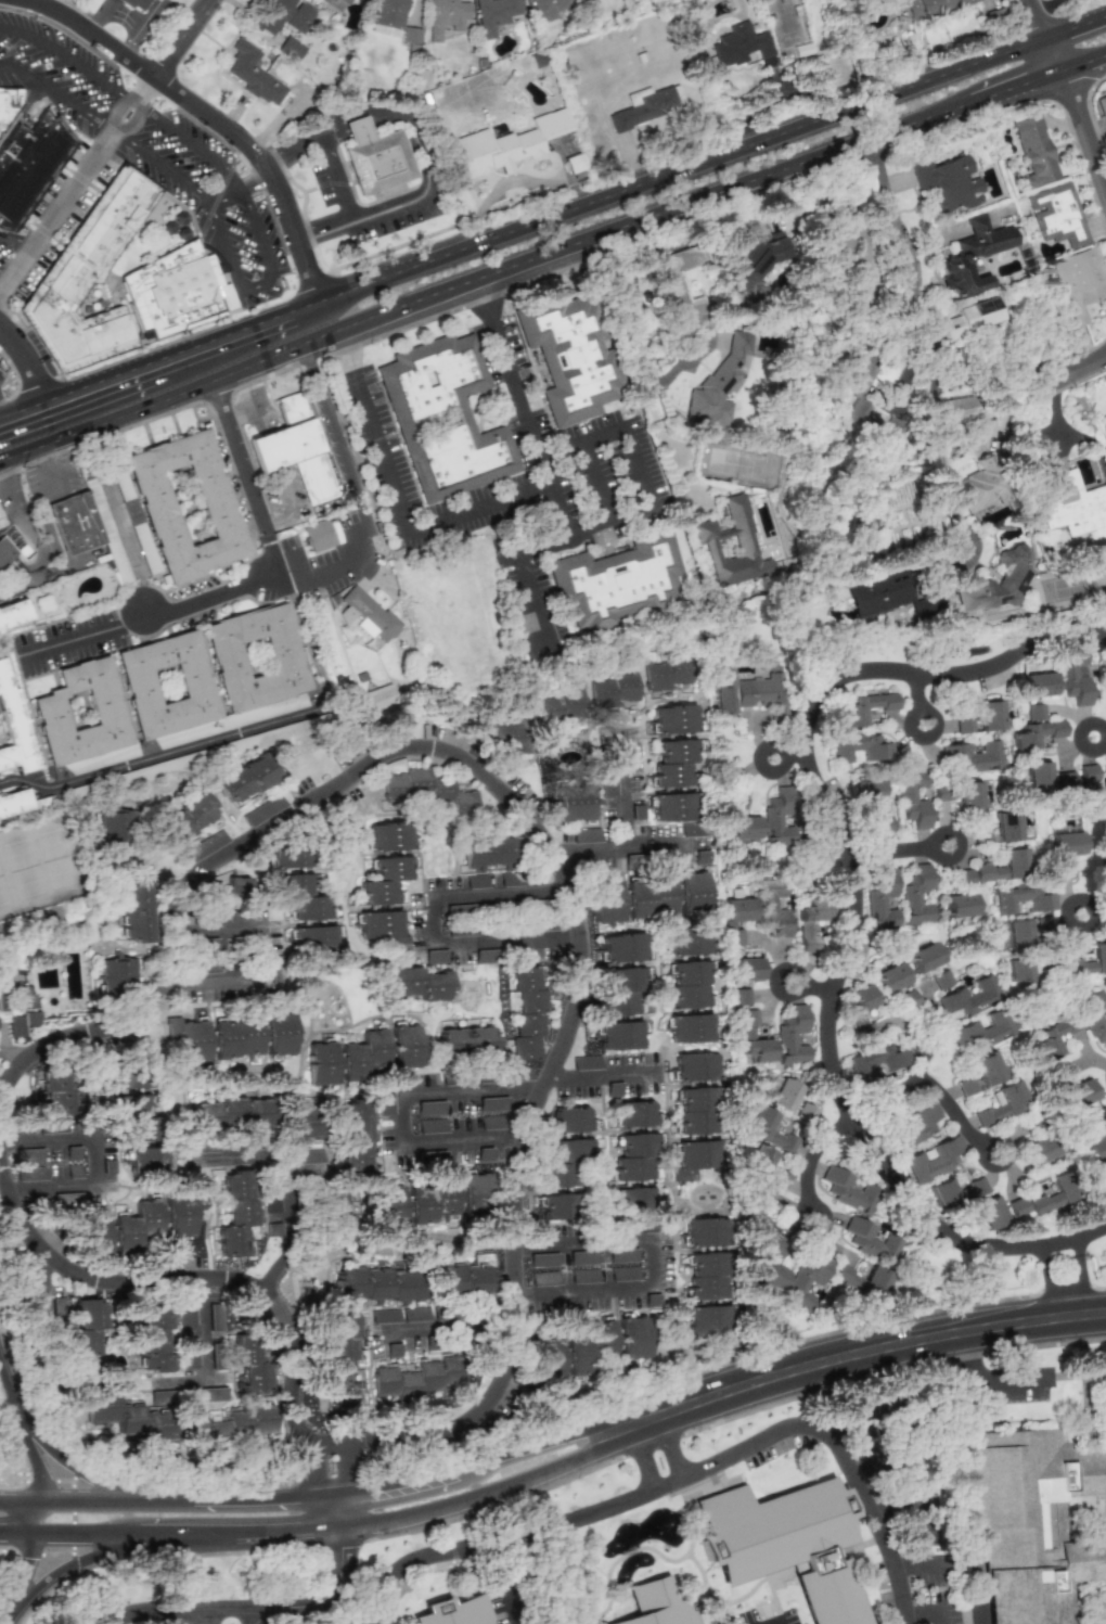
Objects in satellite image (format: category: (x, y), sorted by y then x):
road: (114, 2)
building: (587, 2)
building: (334, 3)
building: (137, 4)
building: (929, 7)
road: (75, 8)
building: (545, 11)
road: (150, 12)
building: (493, 14)
building: (282, 15)
building: (388, 15)
building: (446, 16)
road: (1038, 18)
road: (85, 22)
road: (1078, 27)
road: (178, 35)
building: (411, 35)
road: (133, 37)
road: (1033, 41)
building: (740, 44)
building: (291, 48)
road: (1057, 51)
road: (61, 57)
road: (1085, 57)
road: (140, 61)
building: (253, 74)
road: (1017, 80)
road: (143, 86)
road: (51, 90)
building: (304, 91)
road: (127, 97)
building: (9, 102)
road: (952, 103)
building: (646, 105)
building: (1102, 105)
road: (142, 106)
road: (105, 126)
road: (1083, 132)
road: (118, 136)
road: (413, 143)
building: (507, 144)
road: (195, 148)
building: (1034, 151)
building: (378, 162)
building: (28, 163)
road: (267, 163)
road: (1101, 171)
road: (334, 175)
road: (655, 176)
building: (949, 182)
road: (237, 187)
road: (66, 195)
road: (202, 201)
building: (1058, 215)
road: (255, 228)
road: (11, 236)
road: (27, 242)
building: (850, 251)
road: (903, 252)
building: (973, 255)
building: (757, 265)
road: (5, 272)
building: (89, 277)
road: (464, 278)
building: (1078, 282)
building: (681, 283)
road: (260, 285)
building: (175, 290)
building: (969, 318)
road: (221, 338)
road: (635, 355)
road: (34, 356)
building: (569, 357)
road: (1059, 369)
building: (861, 375)
road: (16, 378)
building: (719, 384)
road: (74, 396)
road: (520, 405)
building: (960, 408)
building: (856, 412)
building: (443, 414)
road: (2, 418)
building: (890, 433)
road: (334, 434)
road: (103, 436)
road: (604, 436)
building: (294, 449)
road: (640, 468)
road: (944, 470)
road: (595, 483)
building: (981, 484)
road: (39, 500)
road: (12, 503)
road: (395, 504)
building: (185, 506)
building: (1075, 506)
building: (0, 522)
building: (75, 523)
road: (10, 526)
road: (350, 528)
road: (590, 528)
building: (317, 536)
road: (128, 542)
road: (272, 545)
building: (732, 545)
building: (144, 546)
building: (11, 547)
road: (343, 549)
road: (368, 557)
road: (295, 570)
road: (51, 572)
road: (324, 574)
building: (617, 581)
building: (998, 581)
building: (877, 592)
road: (535, 599)
building: (366, 614)
building: (13, 615)
road: (133, 617)
road: (70, 640)
building: (256, 656)
building: (667, 673)
building: (1073, 675)
building: (168, 683)
building: (1038, 683)
building: (615, 689)
building: (750, 692)
building: (380, 696)
building: (562, 706)
building: (864, 707)
building: (1034, 712)
building: (81, 713)
building: (990, 715)
building: (674, 719)
building: (963, 724)
building: (14, 729)
road: (1080, 733)
building: (1034, 734)
building: (510, 737)
building: (861, 746)
road: (153, 755)
building: (973, 757)
building: (673, 763)
building: (1038, 776)
building: (246, 779)
building: (1065, 780)
building: (608, 784)
building: (1092, 789)
building: (427, 790)
building: (870, 790)
building: (969, 795)
building: (912, 798)
building: (13, 802)
building: (575, 802)
building: (671, 806)
building: (263, 810)
building: (780, 817)
building: (187, 818)
building: (877, 824)
building: (1007, 826)
building: (113, 828)
building: (744, 828)
road: (628, 829)
building: (695, 829)
building: (390, 835)
building: (586, 835)
building: (211, 842)
road: (660, 844)
building: (1066, 844)
building: (490, 851)
road: (896, 851)
building: (290, 854)
building: (703, 857)
building: (631, 861)
building: (1005, 867)
building: (1063, 871)
building: (964, 877)
building: (510, 879)
building: (384, 880)
building: (477, 881)
building: (228, 890)
building: (692, 893)
building: (917, 895)
building: (303, 896)
building: (648, 898)
building: (1024, 898)
building: (880, 899)
building: (606, 900)
building: (961, 905)
building: (775, 907)
road: (853, 907)
road: (1099, 908)
building: (137, 910)
building: (736, 918)
road: (432, 920)
road: (1086, 921)
building: (810, 922)
building: (383, 928)
building: (1016, 934)
building: (313, 937)
building: (687, 941)
building: (622, 947)
building: (435, 956)
building: (486, 956)
building: (924, 957)
road: (265, 963)
building: (1088, 963)
building: (745, 969)
building: (276, 970)
building: (1020, 970)
building: (116, 976)
building: (890, 977)
building: (942, 979)
building: (419, 983)
building: (689, 984)
road: (810, 986)
building: (619, 990)
building: (741, 996)
building: (970, 997)
building: (908, 999)
building: (16, 1007)
building: (859, 1011)
building: (529, 1012)
building: (1093, 1015)
building: (690, 1027)
building: (101, 1030)
building: (981, 1032)
building: (279, 1033)
building: (619, 1035)
building: (793, 1036)
building: (1053, 1036)
building: (188, 1038)
building: (235, 1038)
building: (466, 1039)
building: (754, 1039)
building: (404, 1046)
building: (361, 1056)
building: (887, 1056)
building: (586, 1062)
building: (320, 1063)
building: (695, 1066)
building: (1059, 1073)
building: (980, 1074)
building: (126, 1078)
road: (435, 1084)
road: (930, 1086)
road: (544, 1088)
building: (62, 1092)
building: (782, 1094)
building: (1078, 1094)
building: (385, 1101)
building: (1001, 1102)
building: (491, 1103)
building: (428, 1108)
building: (697, 1110)
building: (635, 1113)
building: (233, 1114)
building: (137, 1116)
building: (570, 1118)
building: (491, 1122)
building: (301, 1124)
building: (430, 1125)
building: (915, 1127)
building: (770, 1129)
building: (356, 1136)
building: (204, 1146)
building: (1096, 1147)
building: (1042, 1148)
road: (94, 1153)
building: (484, 1154)
road: (286, 1155)
building: (634, 1158)
building: (695, 1158)
building: (935, 1158)
building: (149, 1160)
building: (567, 1161)
building: (759, 1161)
road: (809, 1161)
building: (308, 1163)
building: (781, 1179)
building: (976, 1186)
building: (848, 1190)
building: (474, 1192)
building: (943, 1192)
building: (1053, 1194)
building: (633, 1199)
building: (429, 1201)
building: (272, 1202)
building: (388, 1203)
building: (558, 1205)
building: (1017, 1206)
building: (990, 1212)
building: (181, 1213)
building: (236, 1213)
building: (340, 1214)
building: (757, 1215)
building: (136, 1226)
building: (274, 1229)
building: (705, 1231)
building: (95, 1233)
building: (871, 1241)
road: (1063, 1248)
building: (776, 1249)
building: (622, 1255)
building: (583, 1257)
building: (543, 1259)
road: (654, 1261)
road: (275, 1269)
building: (623, 1274)
building: (769, 1275)
building: (584, 1276)
building: (706, 1276)
building: (544, 1278)
building: (806, 1278)
building: (460, 1279)
building: (862, 1280)
building: (377, 1283)
road: (1068, 1286)
road: (39, 1292)
building: (187, 1312)
building: (415, 1314)
building: (385, 1316)
building: (216, 1317)
building: (707, 1319)
road: (452, 1327)
building: (86, 1337)
building: (632, 1337)
building: (154, 1339)
building: (588, 1346)
building: (394, 1350)
building: (190, 1352)
road: (203, 1355)
road: (10, 1358)
building: (343, 1358)
building: (546, 1360)
building: (252, 1364)
building: (422, 1377)
road: (987, 1379)
building: (214, 1394)
road: (703, 1401)
building: (130, 1418)
road: (24, 1421)
building: (235, 1424)
road: (657, 1453)
road: (82, 1470)
road: (686, 1476)
road: (336, 1478)
road: (153, 1498)
building: (1034, 1520)
road: (153, 1523)
building: (784, 1544)
road: (102, 1552)
road: (33, 1559)
road: (914, 1565)
road: (324, 1600)
building: (657, 1604)
building: (454, 1611)
road: (928, 1611)
road: (154, 1613)
building: (1105, 1620)
road: (770, 1621)
road: (779, 1621)

